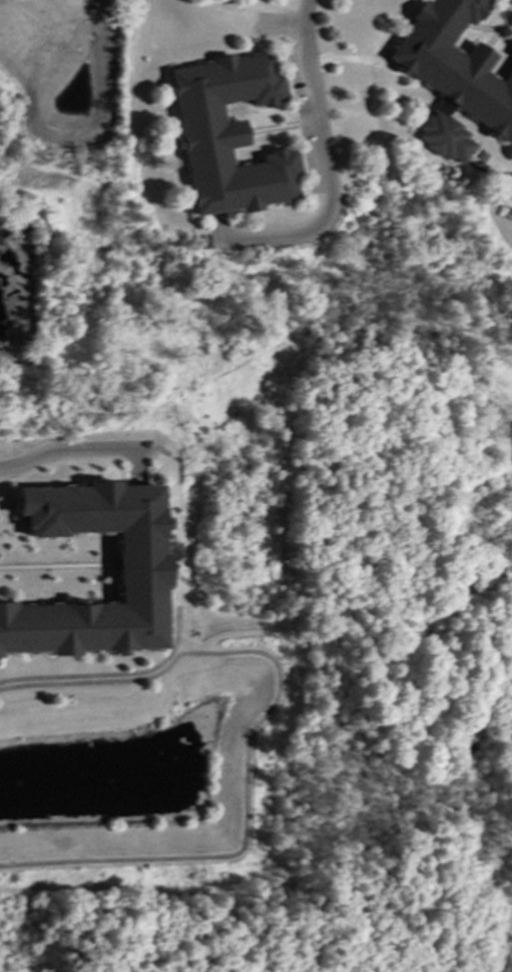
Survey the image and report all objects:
building: (511, 52)
building: (453, 77)
road: (315, 118)
building: (227, 134)
road: (74, 448)
building: (137, 568)
road: (237, 631)
road: (111, 673)
road: (249, 728)

